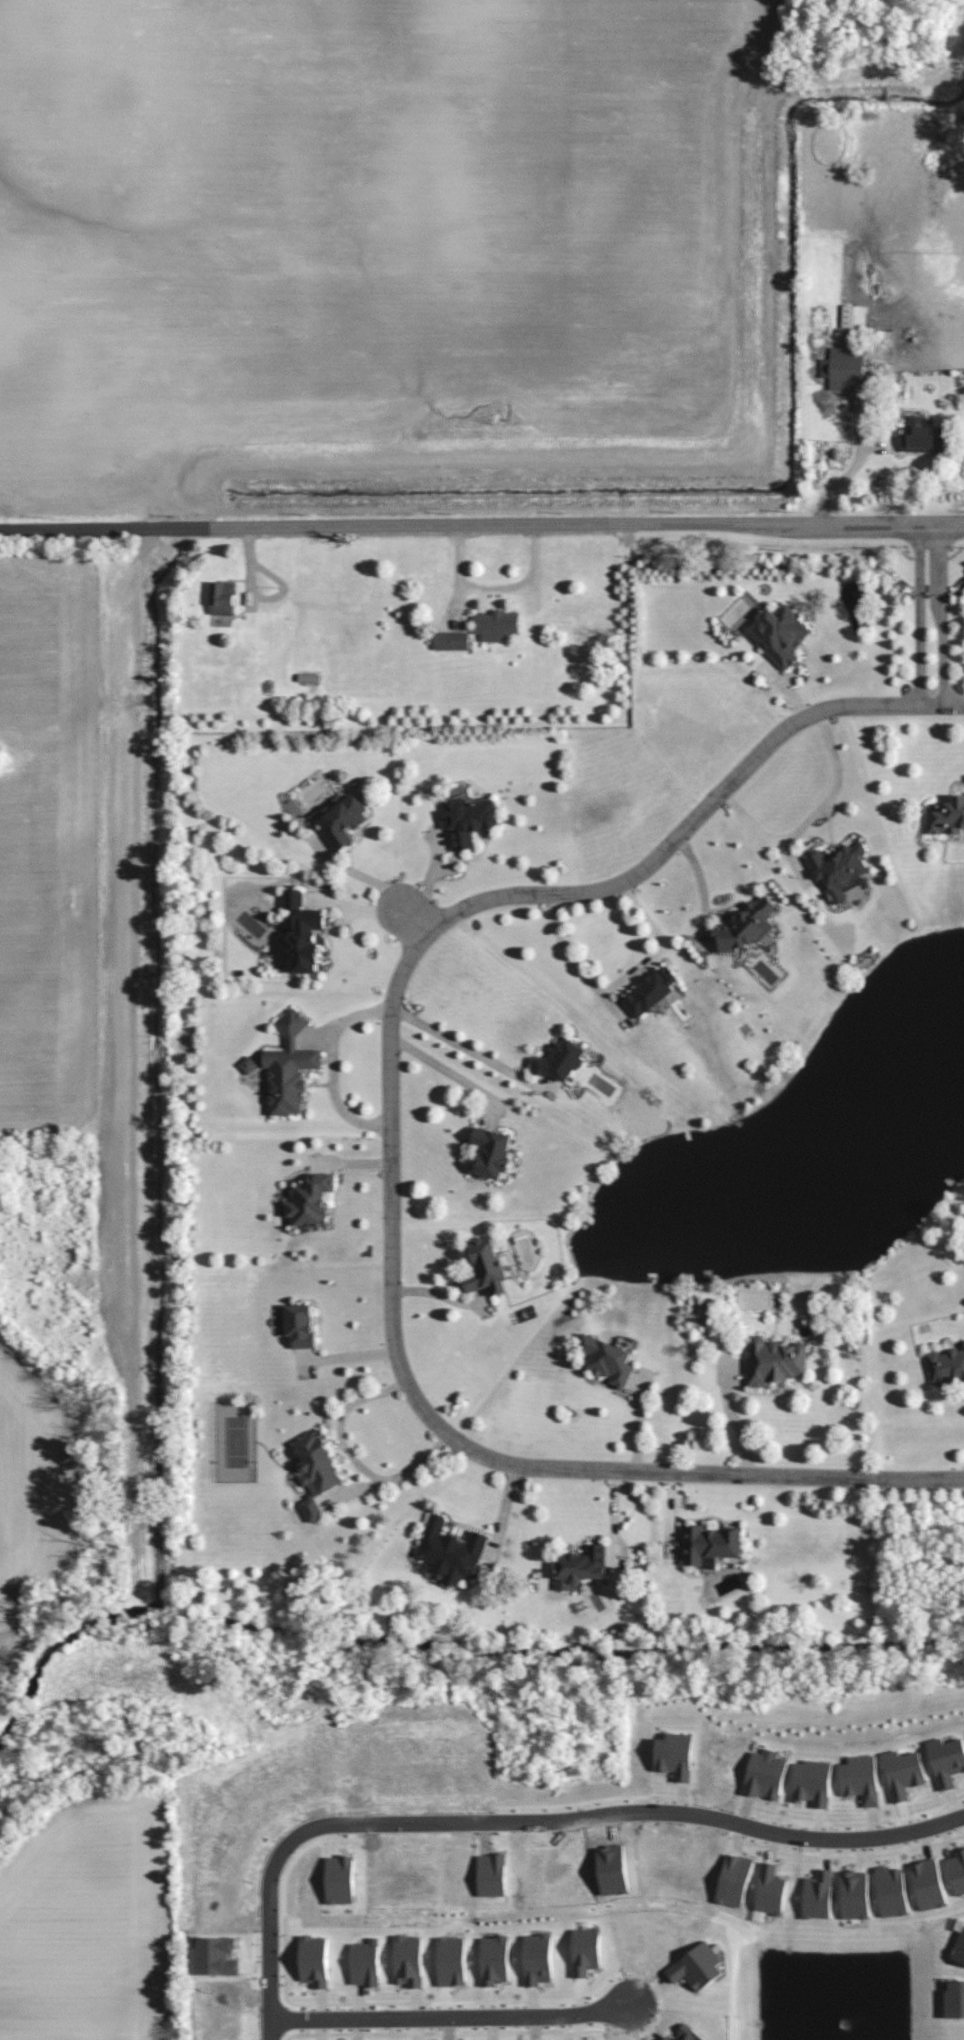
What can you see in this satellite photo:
building: (853, 317)
building: (843, 369)
building: (927, 440)
road: (855, 463)
road: (481, 523)
building: (223, 599)
road: (954, 616)
road: (930, 617)
building: (496, 626)
building: (781, 635)
building: (451, 641)
building: (946, 815)
road: (811, 816)
building: (470, 818)
building: (343, 820)
building: (839, 868)
road: (352, 873)
road: (702, 887)
building: (294, 898)
road: (410, 922)
building: (748, 924)
building: (304, 942)
road: (617, 984)
building: (653, 990)
road: (461, 1045)
building: (561, 1060)
building: (290, 1067)
road: (444, 1070)
road: (390, 1142)
building: (493, 1150)
building: (310, 1201)
building: (489, 1266)
building: (301, 1324)
road: (344, 1355)
building: (608, 1359)
building: (777, 1360)
building: (947, 1367)
road: (343, 1418)
road: (736, 1422)
building: (316, 1471)
road: (399, 1475)
building: (711, 1545)
building: (451, 1550)
building: (581, 1566)
building: (676, 1755)
building: (947, 1760)
building: (905, 1773)
building: (766, 1774)
building: (862, 1779)
building: (813, 1783)
road: (623, 1813)
building: (957, 1872)
building: (493, 1875)
building: (341, 1880)
building: (735, 1881)
building: (929, 1885)
building: (772, 1890)
building: (892, 1892)
building: (819, 1895)
building: (855, 1895)
road: (267, 1941)
building: (586, 1950)
building: (959, 1950)
building: (215, 1957)
building: (538, 1959)
building: (315, 1961)
building: (409, 1961)
building: (495, 1961)
building: (452, 1962)
building: (366, 1963)
building: (698, 1967)
building: (955, 2001)
road: (452, 2018)
building: (688, 2035)
building: (667, 2038)

